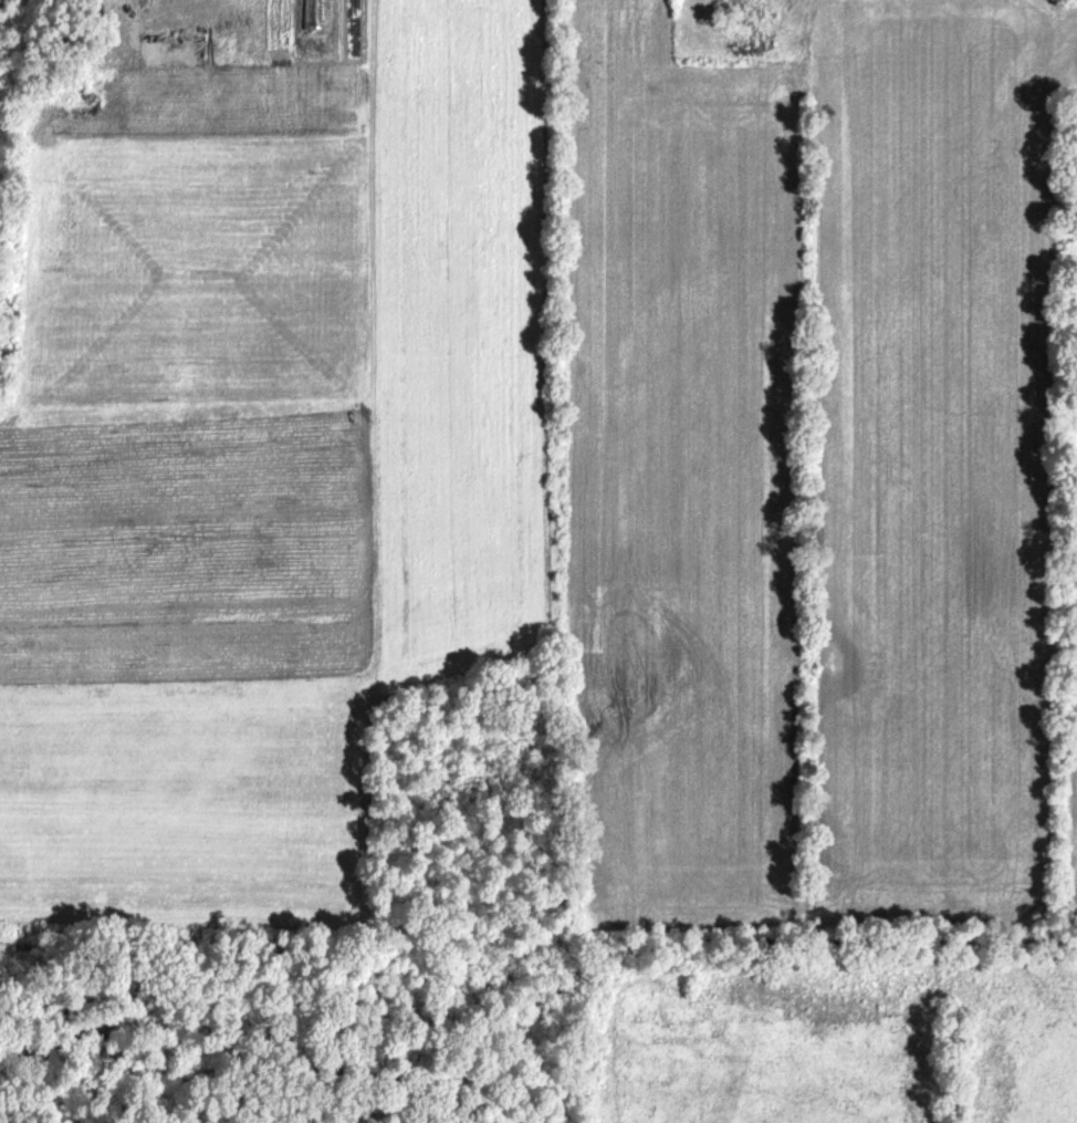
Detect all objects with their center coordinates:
building: (747, 9)

